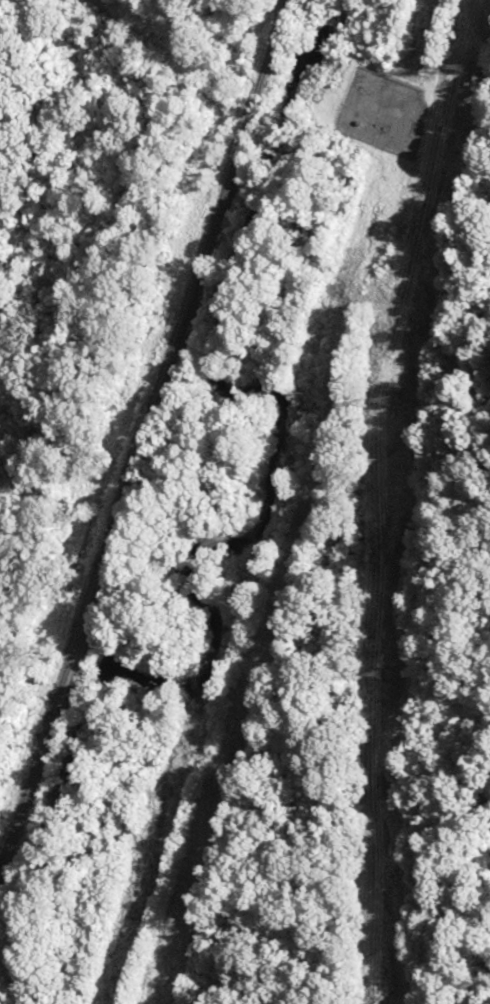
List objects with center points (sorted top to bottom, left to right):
power tower: (461, 66)
power tower: (393, 399)
railway: (141, 432)
power tower: (383, 674)

